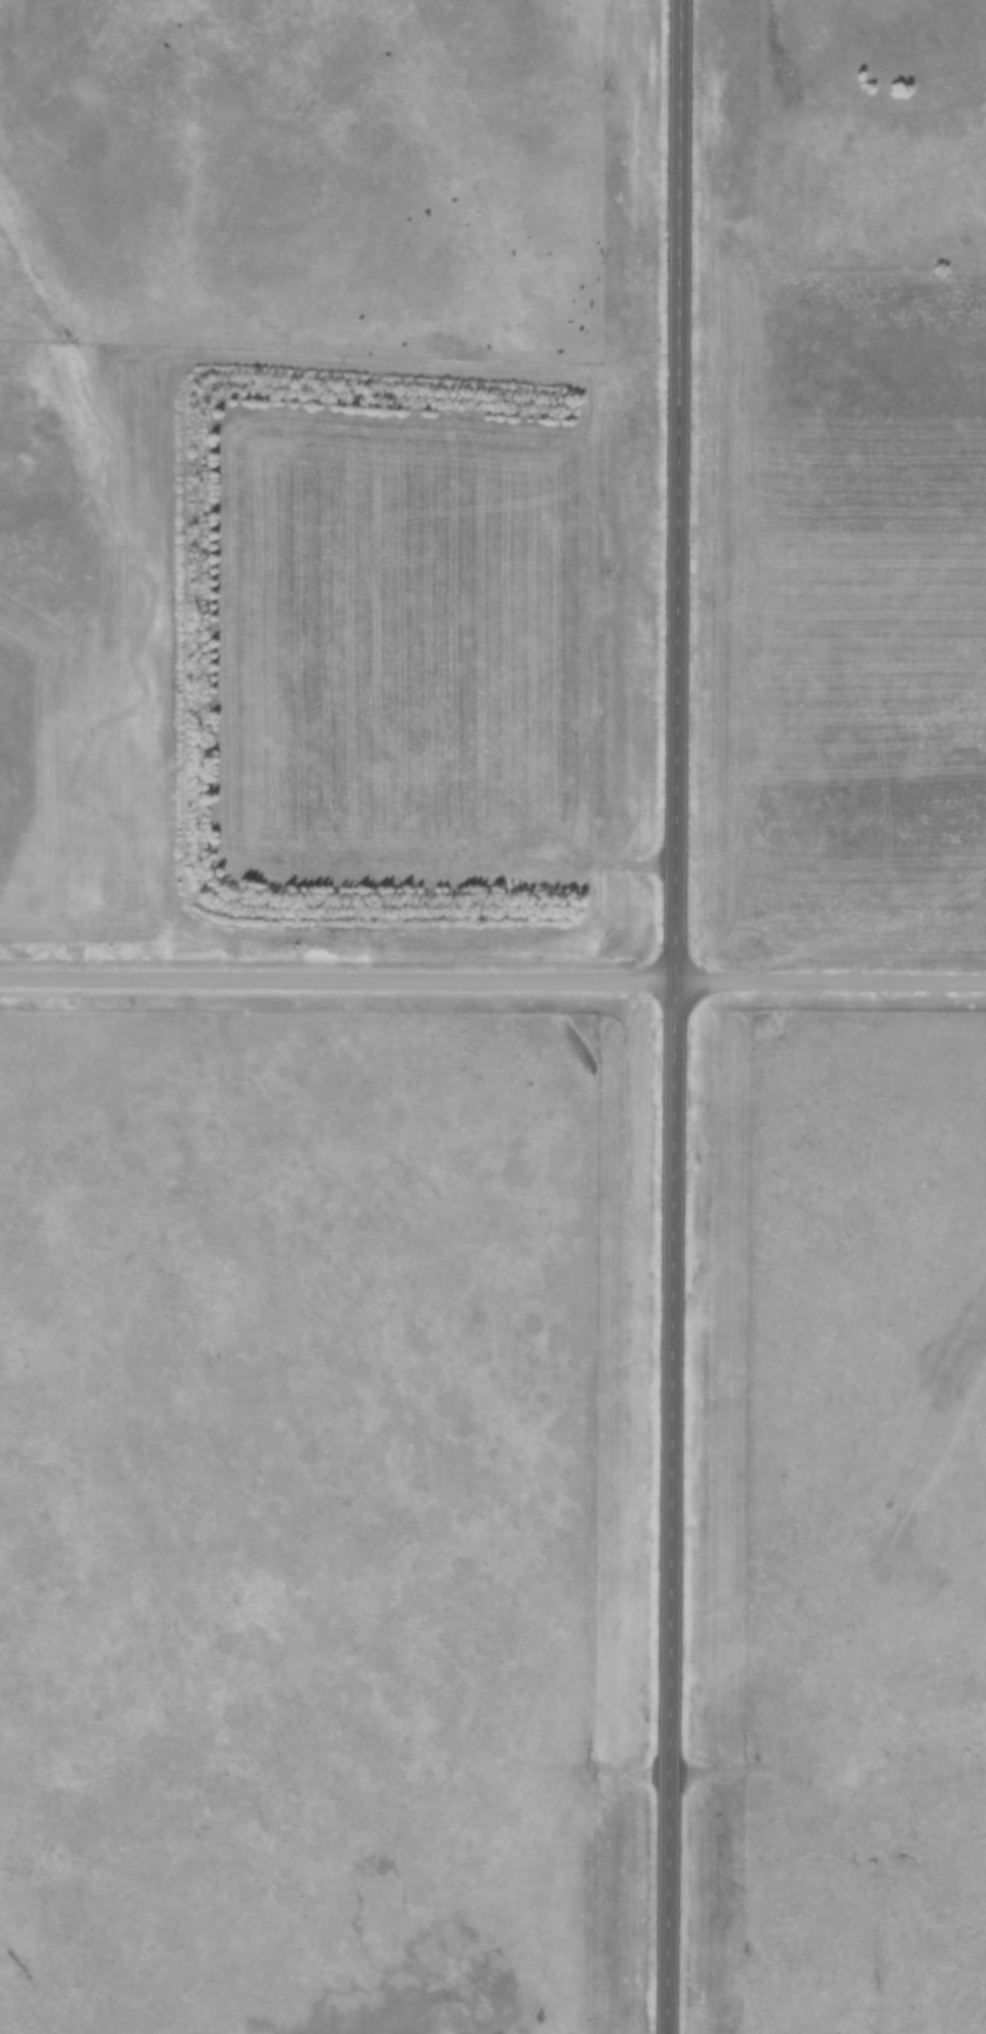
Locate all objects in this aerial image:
road: (493, 980)
road: (673, 1016)

